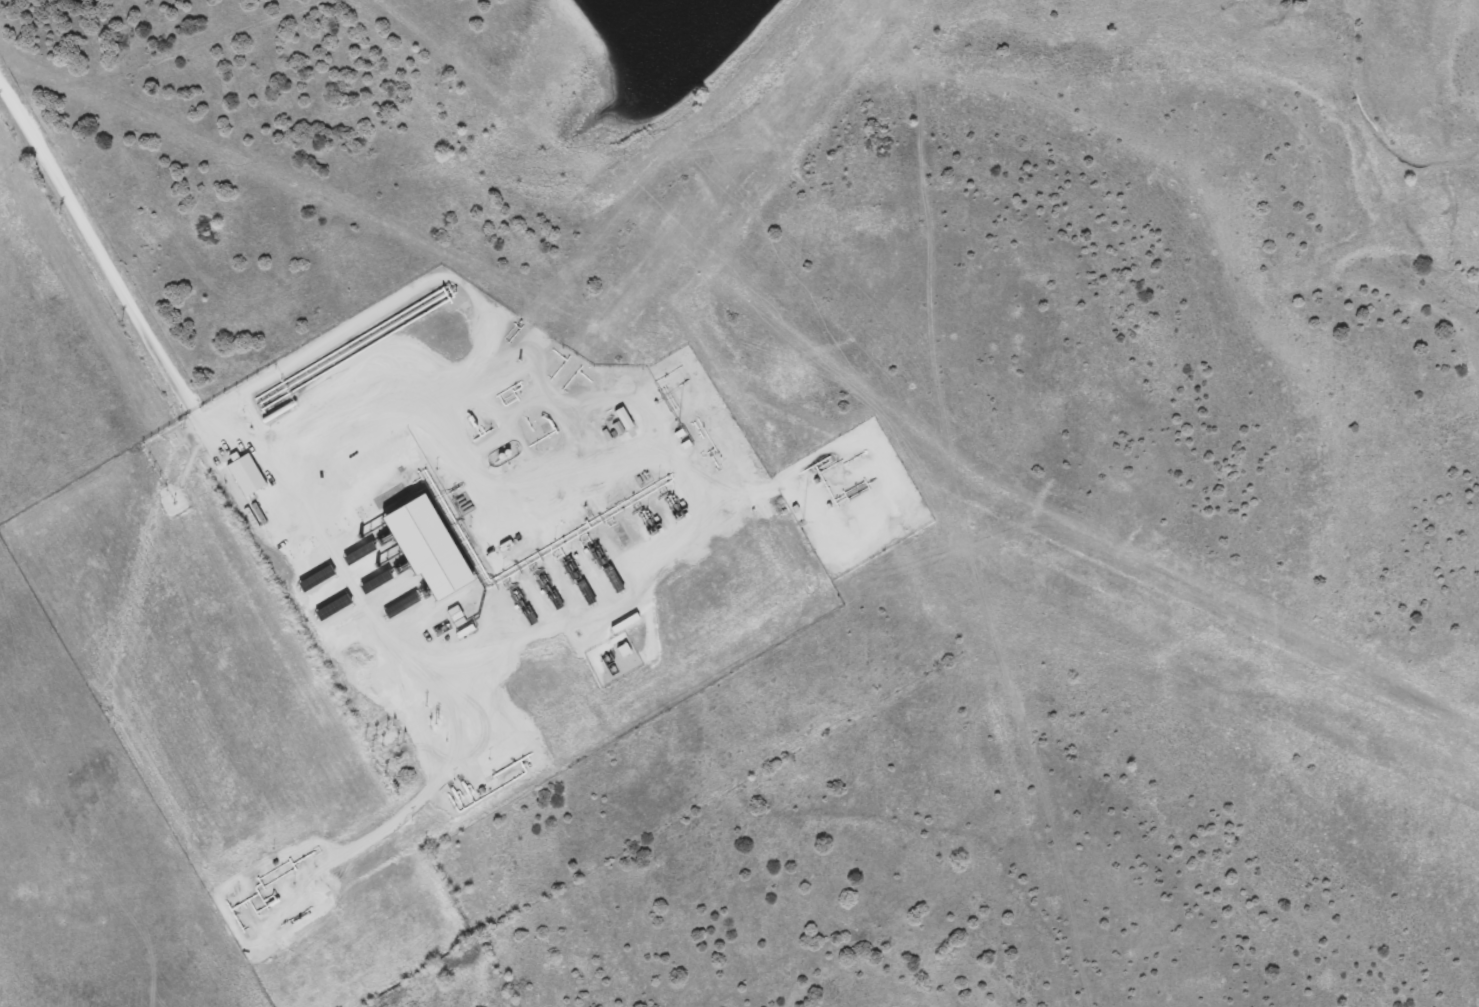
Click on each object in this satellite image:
road: (168, 56)
road: (189, 406)
building: (248, 476)
building: (433, 550)
building: (319, 580)
building: (626, 624)

